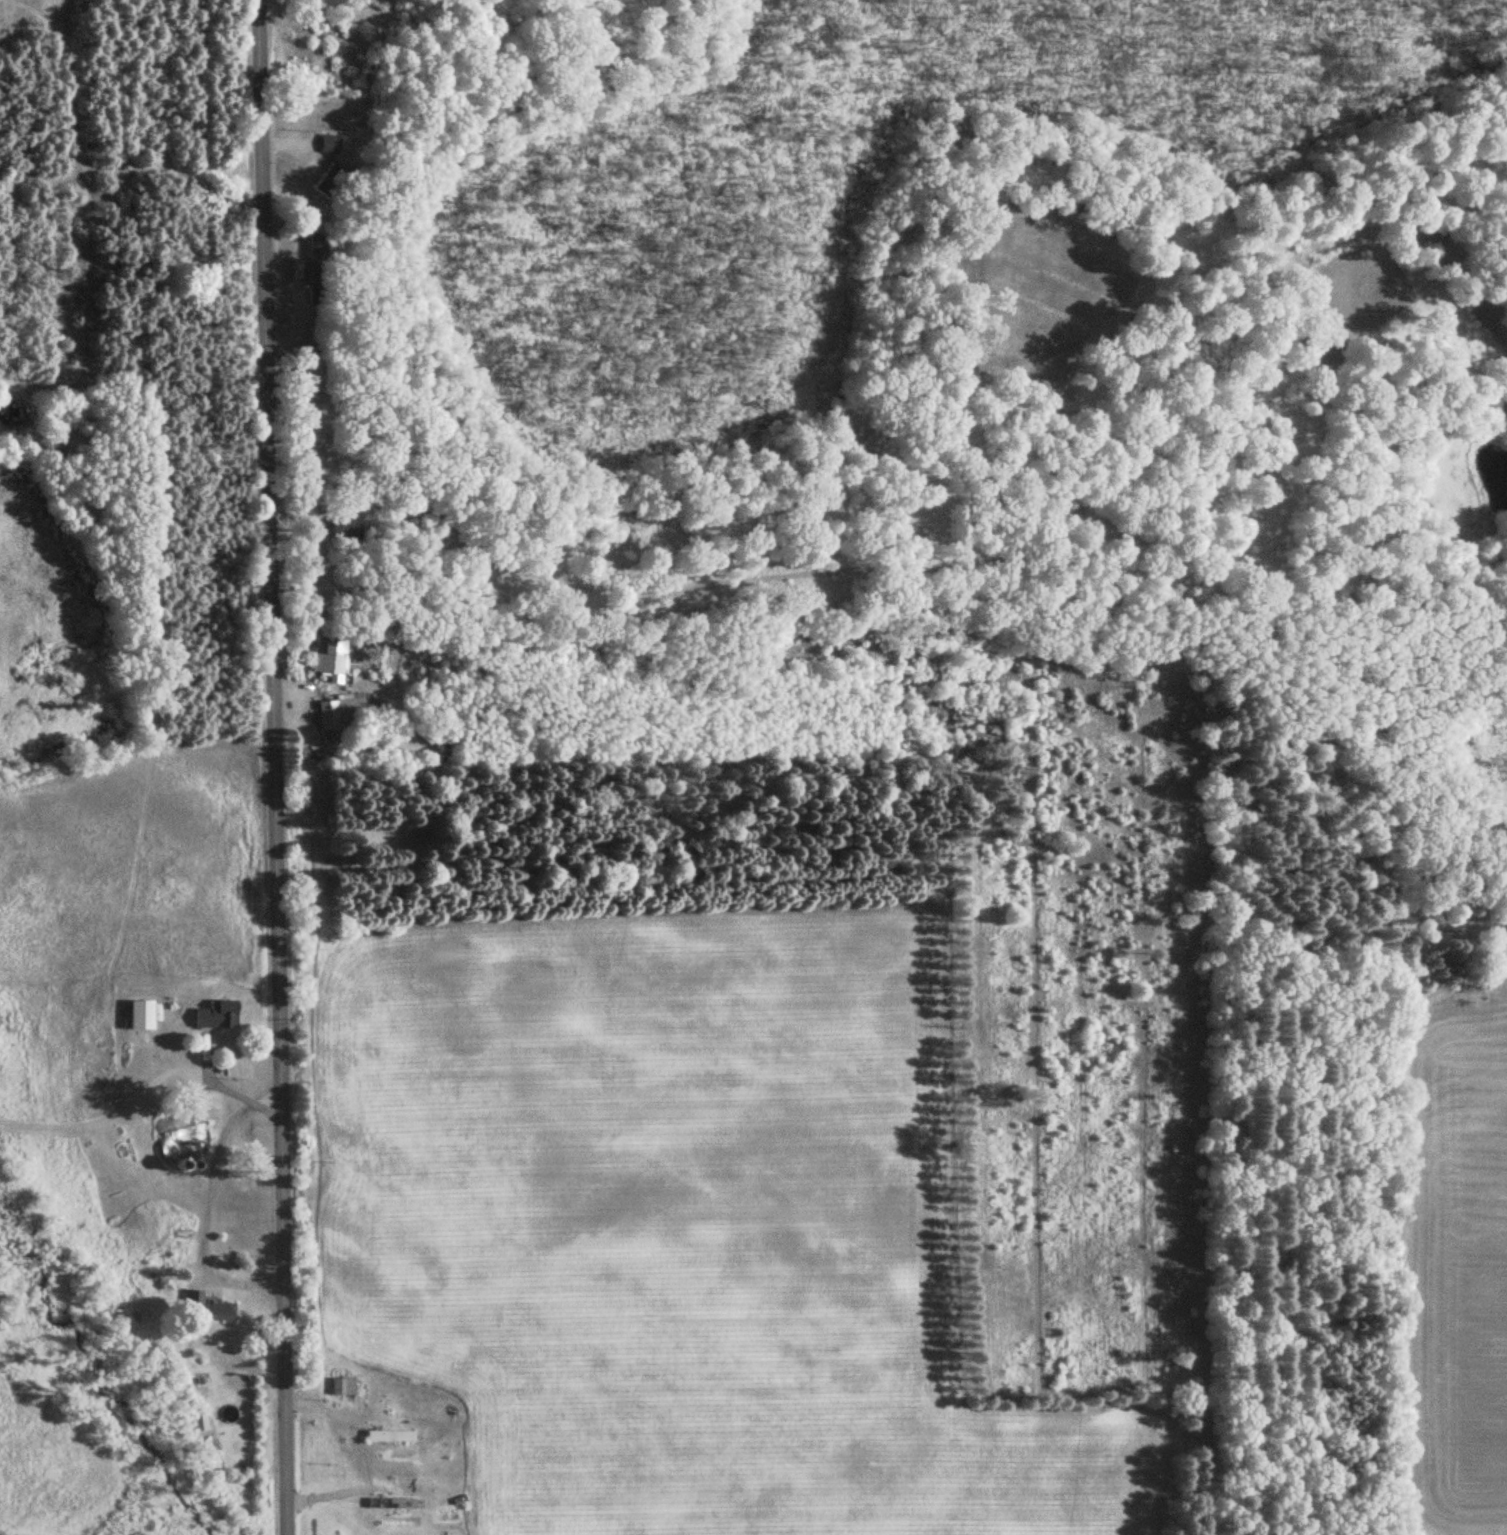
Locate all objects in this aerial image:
building: (328, 145)
building: (330, 181)
building: (314, 269)
building: (346, 529)
building: (329, 659)
building: (339, 713)
road: (277, 767)
building: (214, 1015)
building: (143, 1016)
building: (179, 1142)
road: (203, 1206)
building: (217, 1312)
building: (343, 1387)
building: (389, 1436)
building: (390, 1504)

